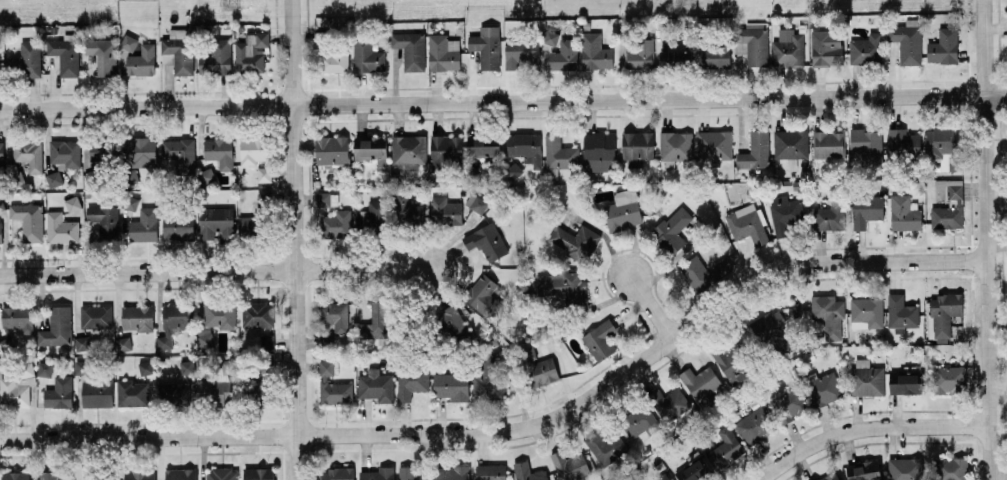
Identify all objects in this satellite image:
power tower: (231, 1)
building: (552, 38)
building: (907, 41)
building: (128, 42)
building: (752, 43)
building: (486, 46)
building: (943, 46)
building: (826, 47)
building: (788, 48)
building: (410, 49)
building: (865, 49)
building: (595, 51)
building: (251, 52)
building: (443, 52)
building: (521, 52)
building: (639, 53)
building: (65, 54)
building: (103, 55)
building: (565, 55)
building: (367, 56)
building: (716, 56)
building: (216, 57)
building: (675, 57)
building: (27, 59)
building: (141, 60)
building: (334, 62)
road: (503, 101)
building: (903, 141)
building: (714, 144)
building: (828, 144)
building: (483, 145)
building: (790, 145)
building: (526, 146)
building: (865, 146)
building: (637, 147)
building: (675, 147)
building: (944, 147)
building: (371, 148)
building: (254, 149)
building: (332, 149)
building: (100, 150)
building: (409, 150)
building: (445, 150)
building: (755, 150)
building: (139, 151)
building: (65, 152)
building: (219, 152)
building: (599, 152)
building: (28, 153)
building: (180, 153)
building: (560, 153)
building: (1, 159)
building: (263, 174)
building: (206, 175)
building: (53, 178)
building: (326, 198)
building: (262, 200)
building: (72, 203)
building: (476, 203)
building: (406, 207)
building: (445, 210)
building: (623, 210)
building: (866, 210)
building: (949, 210)
building: (785, 213)
building: (904, 213)
building: (373, 214)
building: (829, 216)
building: (28, 220)
building: (104, 220)
building: (216, 222)
building: (747, 223)
building: (337, 224)
building: (144, 225)
building: (250, 226)
building: (178, 227)
building: (61, 228)
building: (672, 229)
building: (0, 233)
road: (295, 240)
building: (574, 240)
road: (985, 240)
building: (486, 241)
road: (216, 272)
building: (704, 273)
building: (560, 285)
building: (483, 296)
road: (654, 305)
building: (867, 311)
building: (901, 311)
building: (257, 314)
building: (944, 314)
building: (219, 315)
building: (334, 315)
building: (828, 315)
building: (96, 316)
building: (178, 316)
building: (136, 317)
building: (15, 319)
building: (375, 320)
building: (452, 320)
building: (769, 325)
building: (56, 327)
building: (600, 339)
building: (326, 340)
building: (82, 342)
building: (123, 343)
building: (732, 362)
building: (228, 365)
building: (81, 367)
building: (145, 367)
building: (536, 368)
building: (45, 369)
building: (866, 377)
building: (948, 379)
building: (411, 381)
building: (700, 381)
building: (905, 383)
building: (376, 385)
building: (451, 385)
building: (17, 386)
building: (333, 386)
building: (822, 387)
building: (214, 390)
building: (59, 392)
building: (96, 392)
building: (132, 392)
building: (173, 393)
building: (669, 402)
building: (788, 403)
building: (640, 423)
building: (753, 425)
road: (515, 429)
road: (869, 429)
building: (605, 447)
building: (726, 447)
building: (569, 465)
building: (905, 468)
building: (950, 468)
building: (693, 470)
building: (863, 470)
building: (451, 472)
building: (491, 472)
building: (528, 472)
building: (180, 473)
building: (258, 473)
building: (378, 473)
building: (406, 473)
building: (140, 474)
building: (222, 474)
building: (338, 474)
building: (15, 475)
building: (53, 476)
building: (829, 476)
building: (97, 477)
building: (662, 477)

